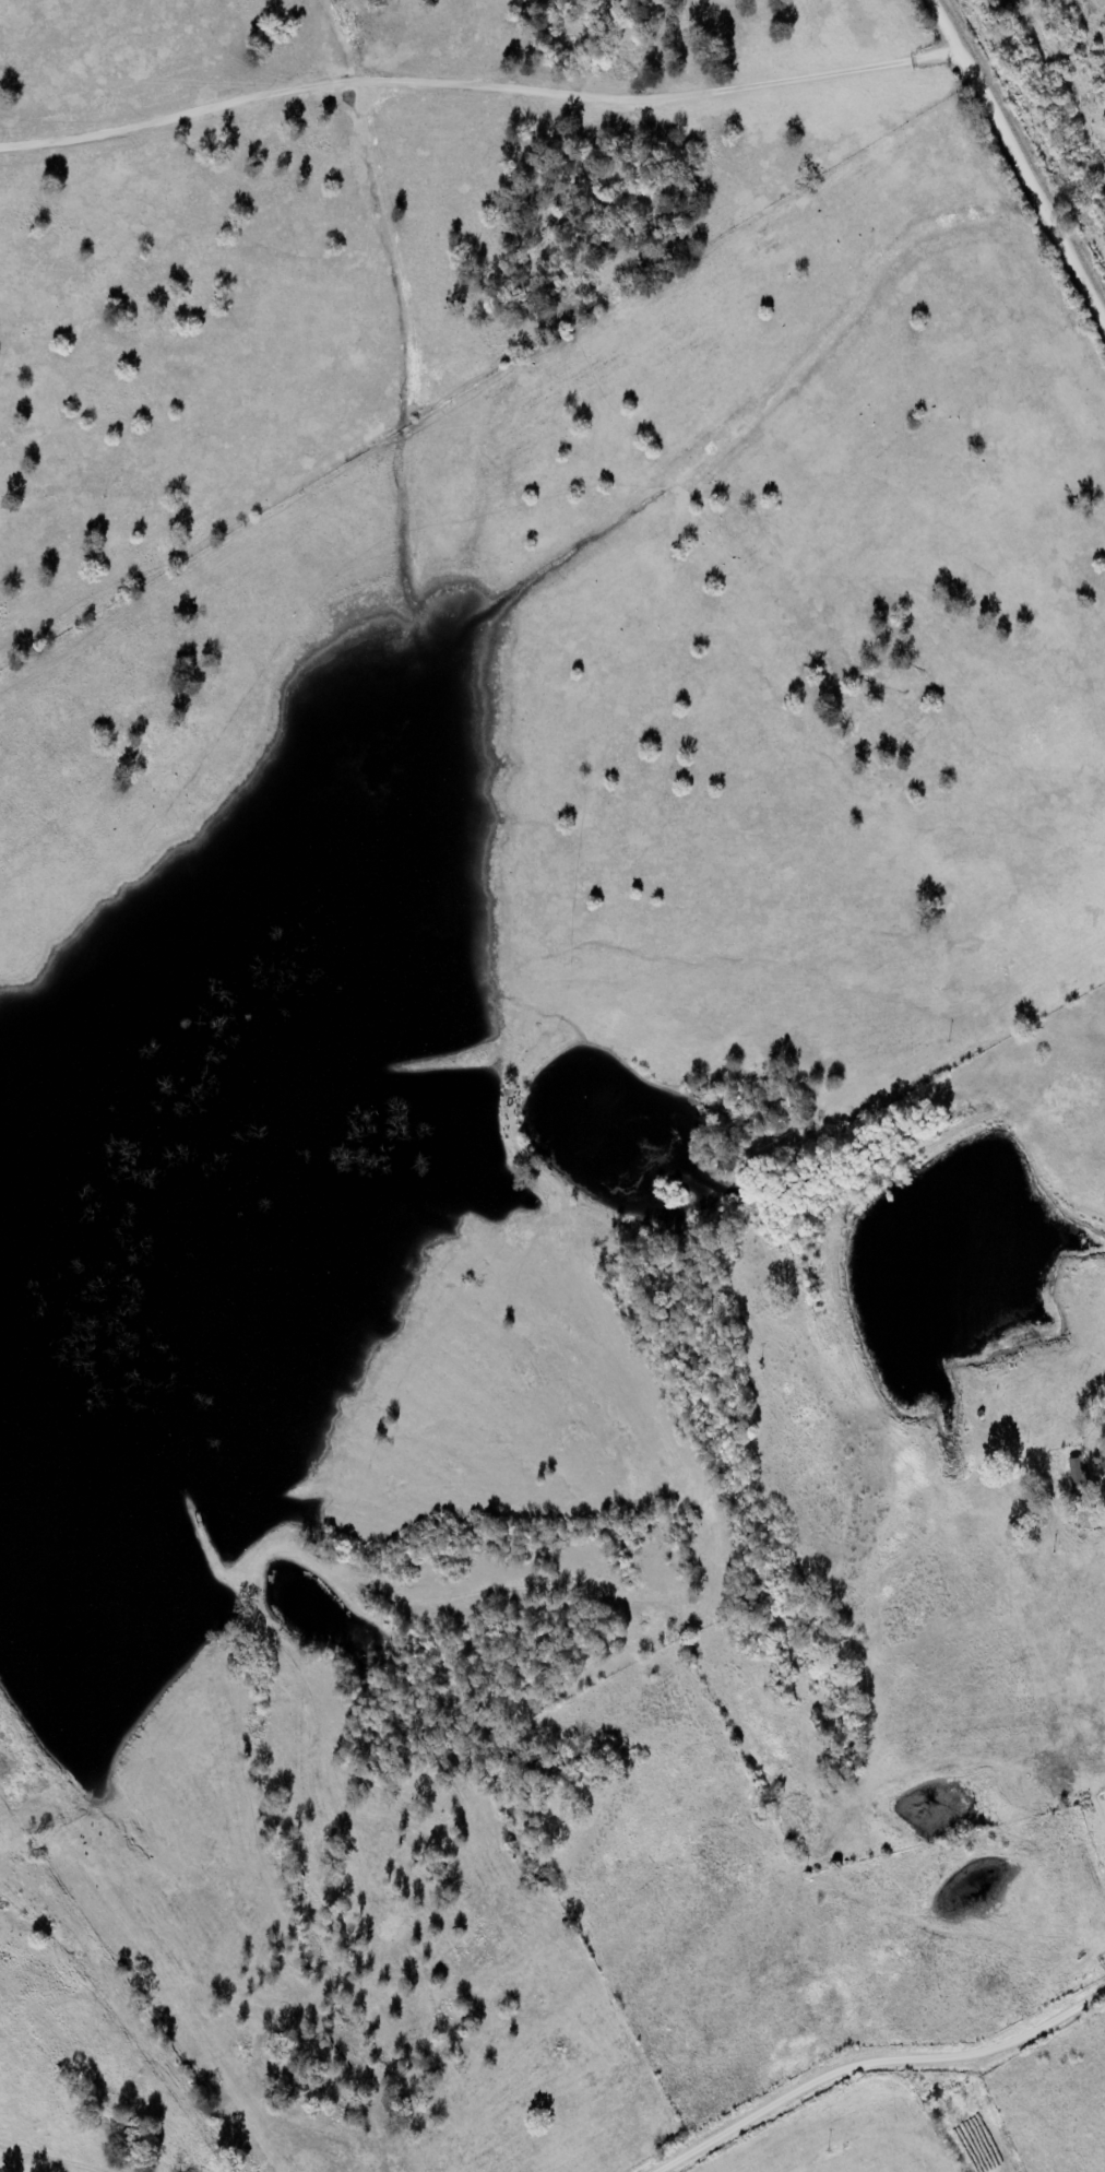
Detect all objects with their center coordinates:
road: (1022, 151)
road: (869, 2080)

